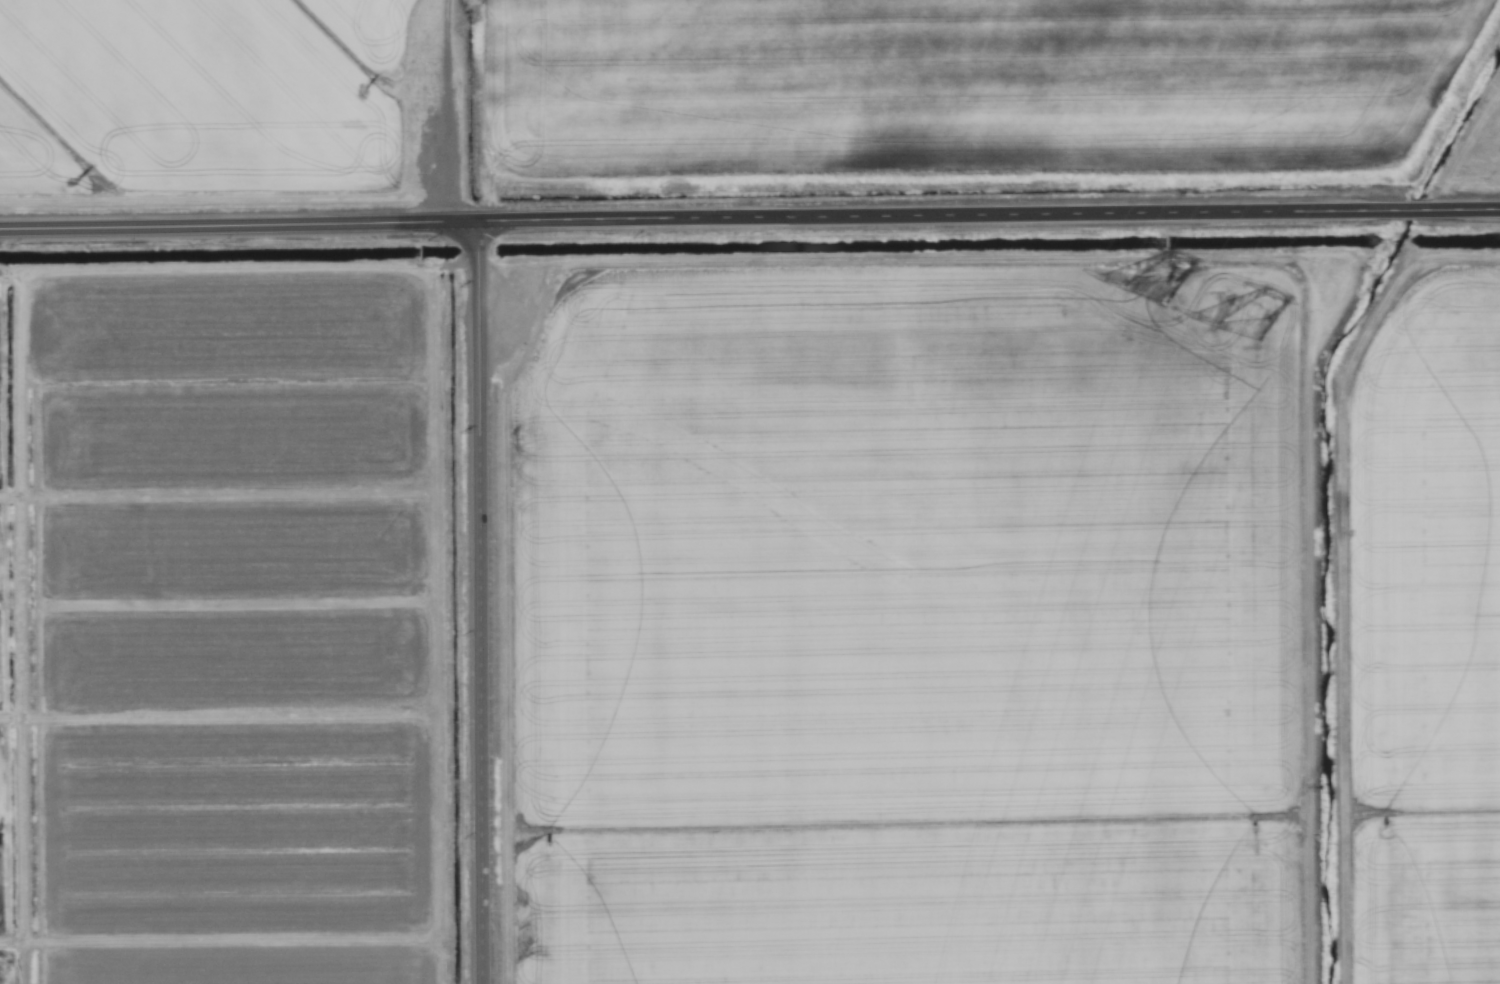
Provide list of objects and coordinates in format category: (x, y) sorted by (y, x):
road: (750, 219)
power tower: (1156, 283)
power tower: (1249, 323)
road: (486, 604)

